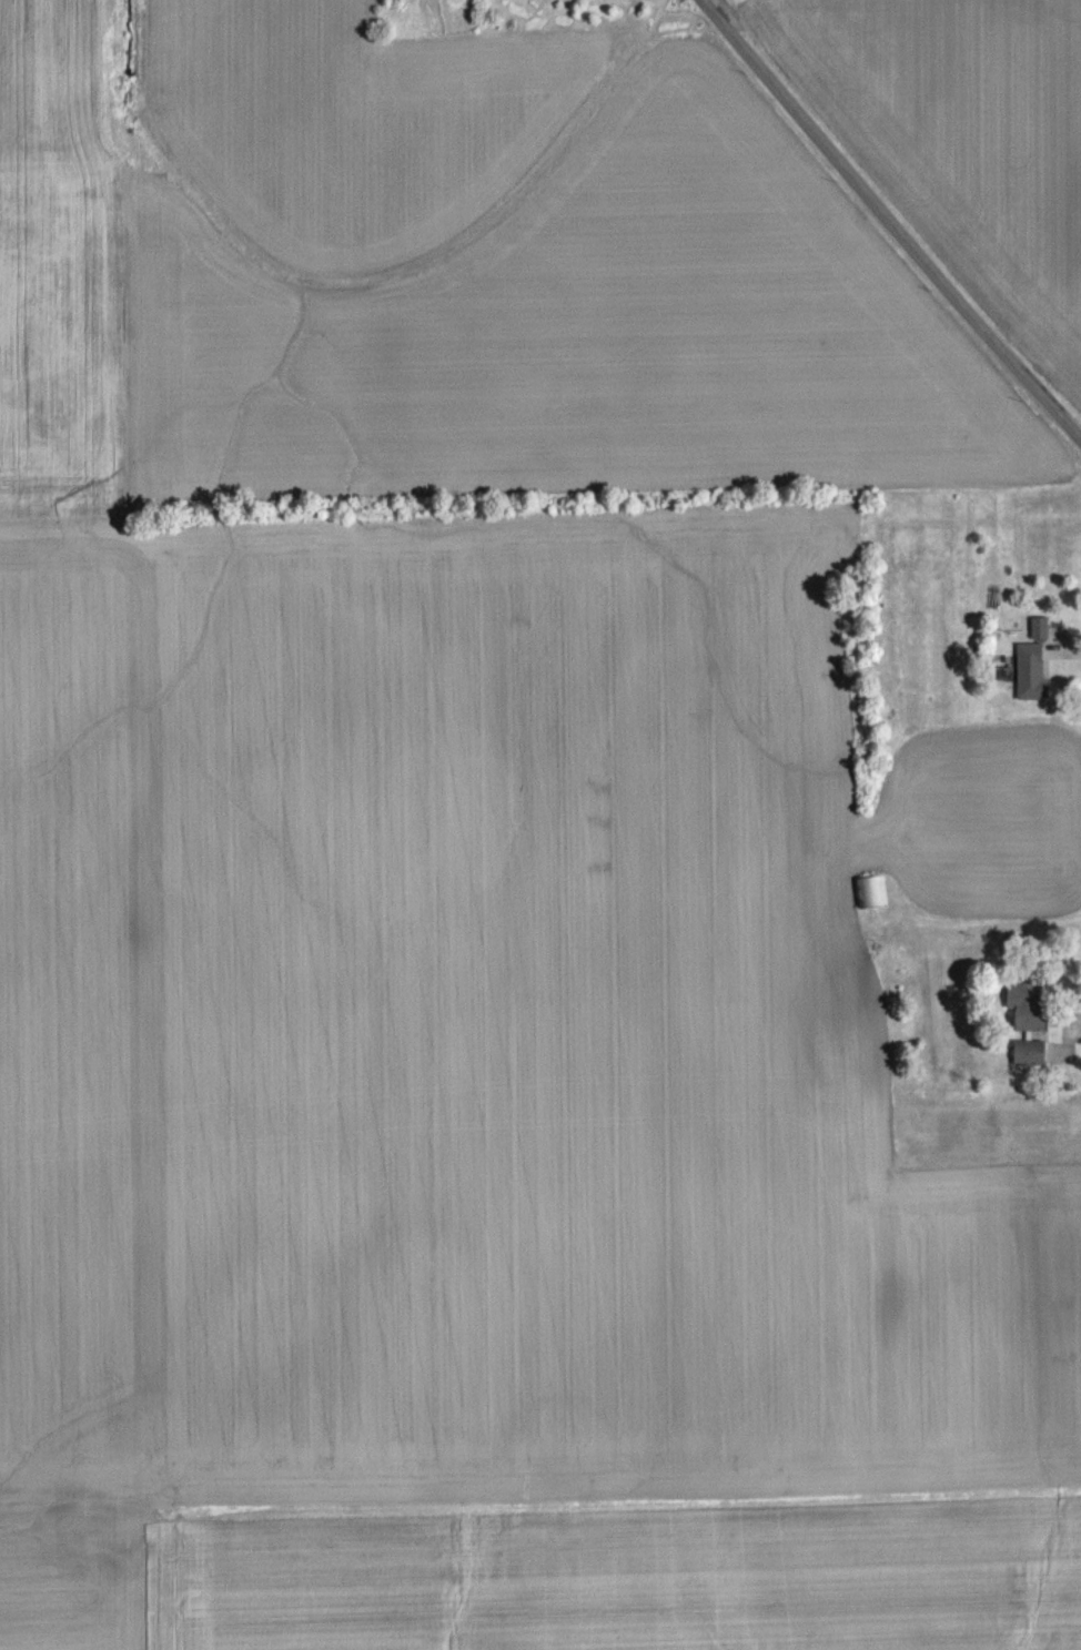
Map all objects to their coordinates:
building: (539, 2)
building: (474, 3)
road: (897, 216)
building: (1040, 640)
building: (1030, 684)
building: (871, 905)
building: (1027, 1020)
building: (1030, 1065)

